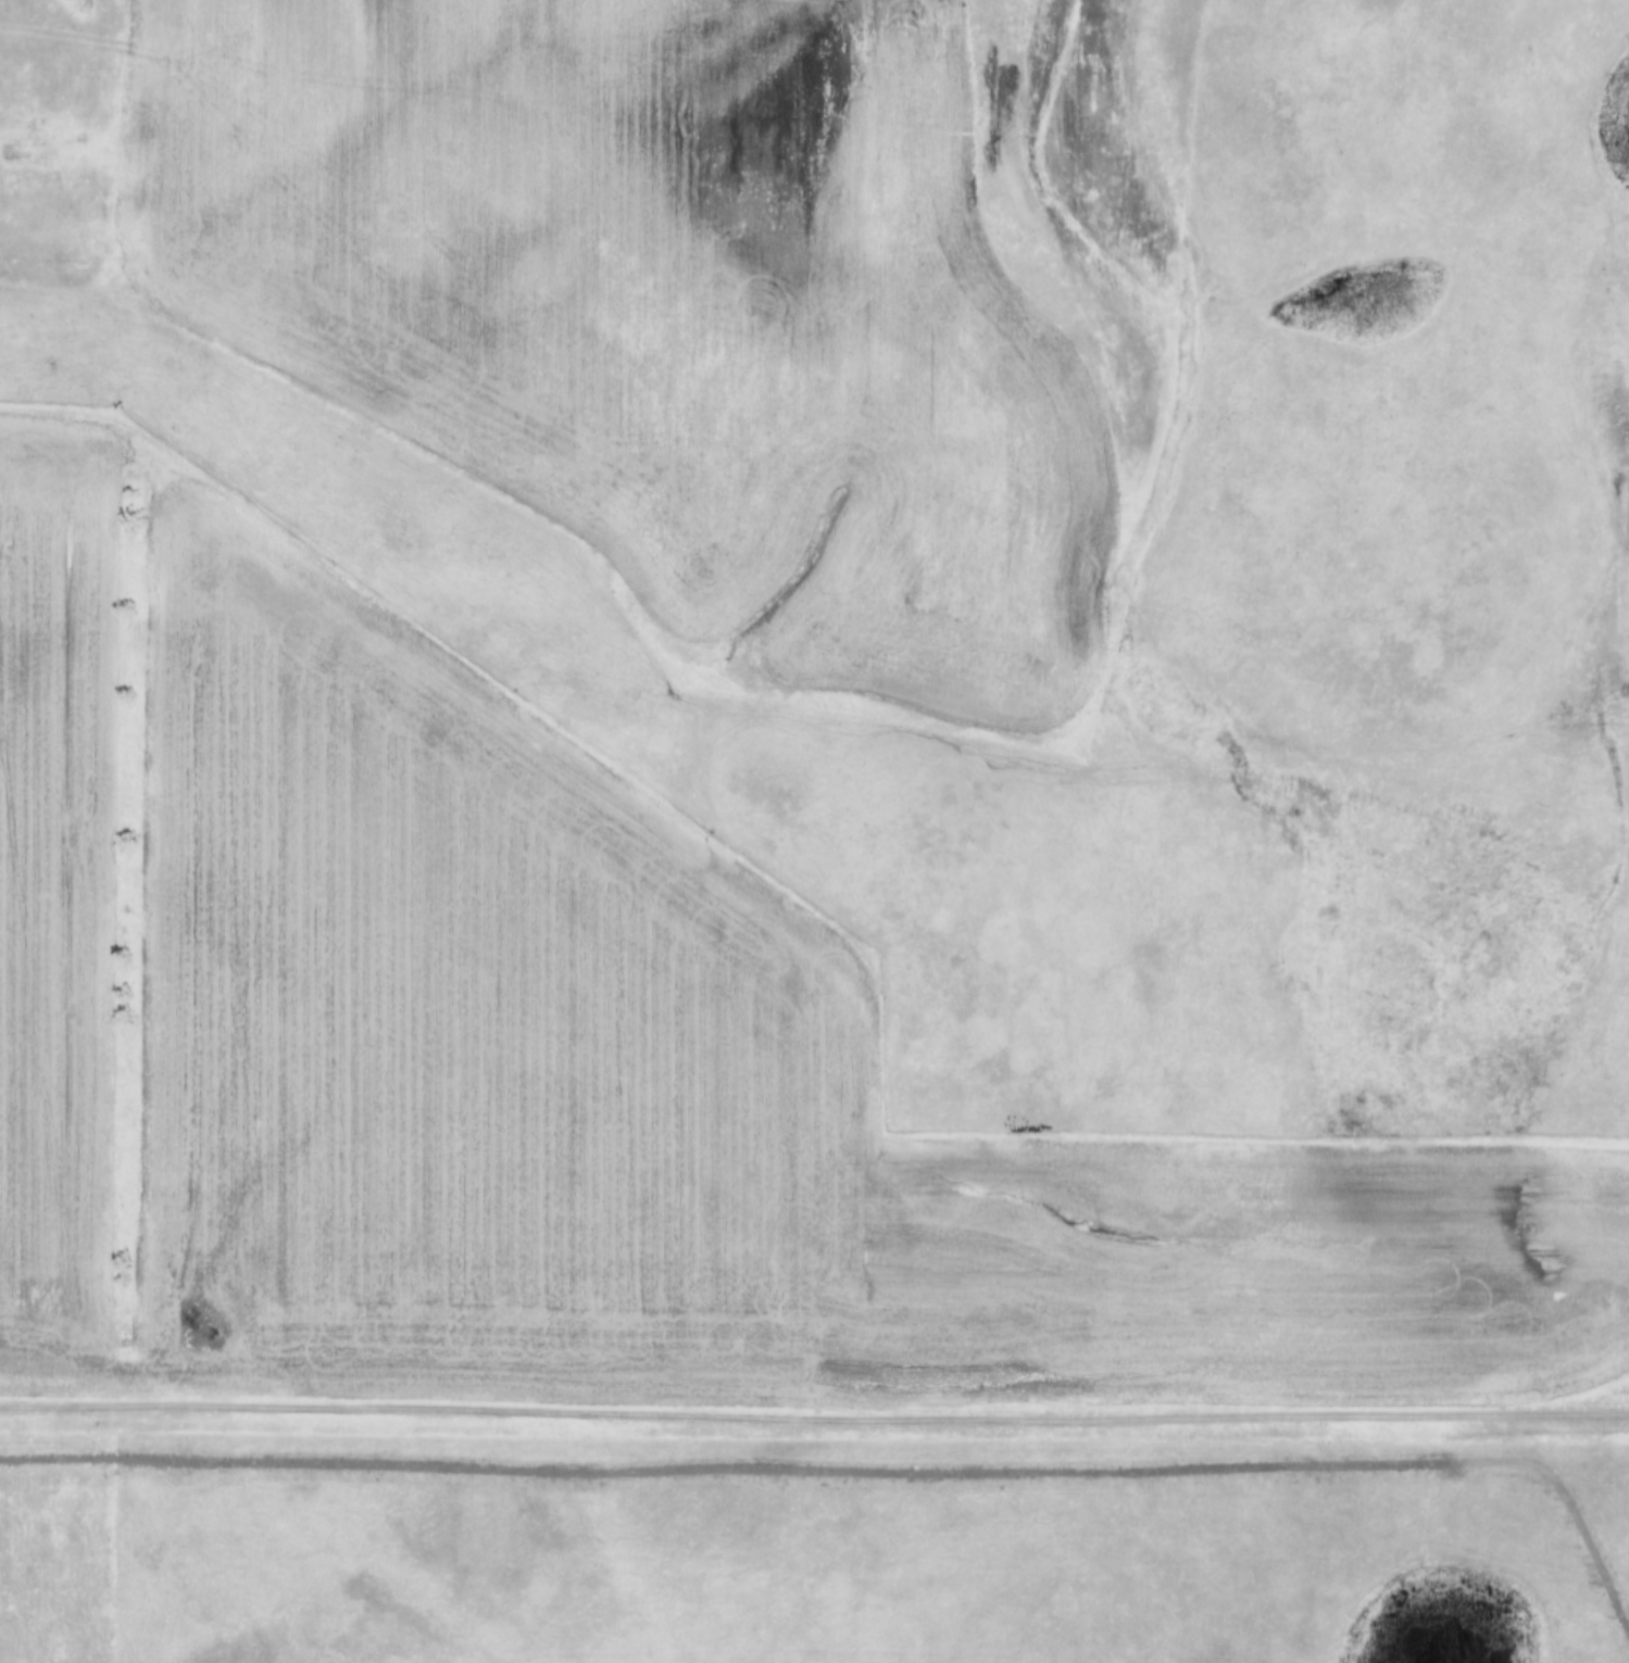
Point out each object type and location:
road: (814, 1410)

